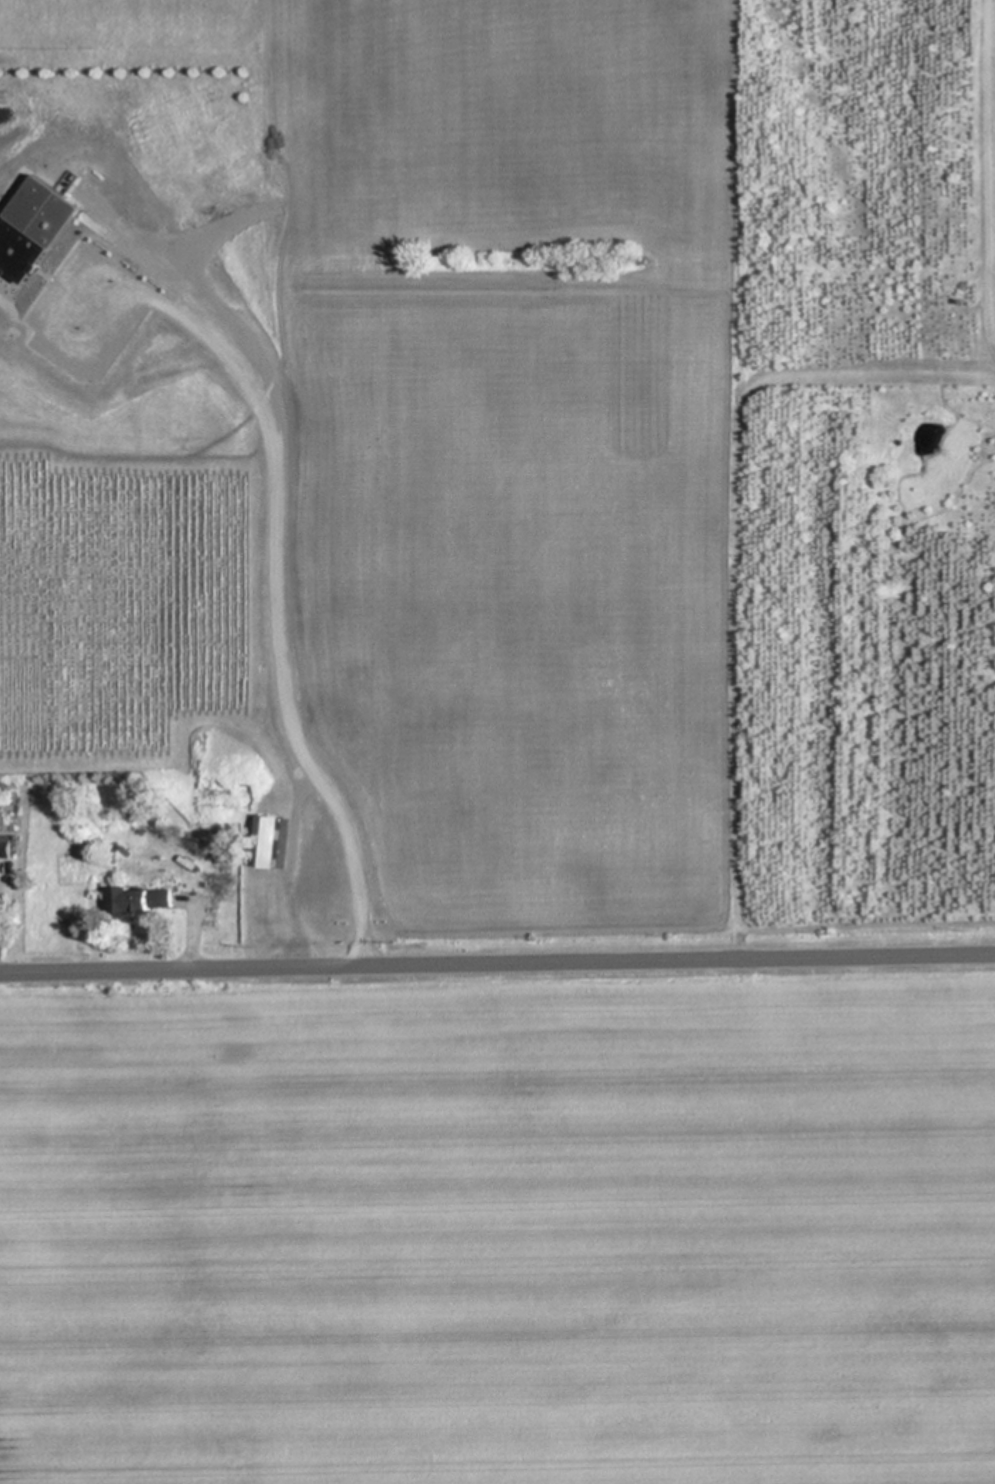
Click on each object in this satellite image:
building: (32, 223)
building: (5, 847)
building: (143, 900)
road: (497, 963)

